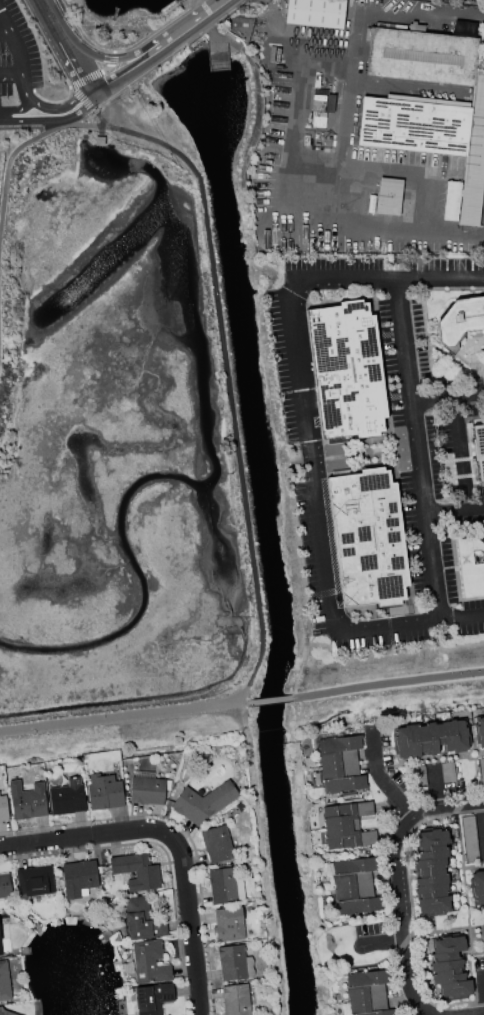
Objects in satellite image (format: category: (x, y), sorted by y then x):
road: (188, 3)
road: (209, 9)
road: (420, 11)
building: (316, 13)
road: (173, 15)
road: (226, 15)
road: (185, 27)
road: (5, 33)
road: (12, 38)
road: (193, 39)
road: (47, 47)
road: (64, 47)
road: (103, 50)
road: (326, 51)
building: (426, 55)
road: (104, 57)
road: (105, 57)
road: (132, 64)
parking lot: (17, 67)
road: (9, 69)
road: (104, 69)
road: (84, 79)
road: (136, 80)
road: (417, 87)
road: (25, 98)
road: (80, 99)
road: (73, 108)
road: (25, 118)
road: (346, 118)
building: (319, 119)
road: (98, 120)
building: (415, 124)
road: (286, 134)
road: (19, 147)
road: (413, 173)
building: (389, 197)
building: (451, 202)
road: (348, 231)
building: (461, 320)
road: (300, 363)
building: (346, 372)
road: (230, 388)
road: (430, 398)
road: (454, 443)
building: (479, 448)
road: (418, 449)
road: (445, 510)
road: (329, 532)
building: (367, 539)
building: (470, 566)
road: (319, 594)
road: (413, 627)
road: (302, 647)
road: (387, 683)
road: (268, 699)
road: (122, 716)
building: (479, 731)
building: (430, 737)
building: (338, 765)
road: (378, 775)
building: (145, 789)
building: (103, 793)
building: (65, 798)
building: (203, 802)
building: (26, 805)
building: (2, 810)
road: (481, 823)
building: (345, 826)
road: (182, 830)
road: (171, 844)
building: (215, 844)
road: (261, 858)
building: (135, 871)
building: (431, 871)
building: (77, 878)
building: (33, 881)
building: (4, 886)
building: (223, 886)
building: (354, 887)
building: (476, 887)
road: (399, 904)
building: (139, 920)
building: (226, 924)
building: (483, 929)
road: (384, 942)
building: (0, 953)
building: (148, 963)
building: (231, 963)
building: (448, 968)
building: (3, 983)
building: (367, 993)
building: (151, 998)
building: (235, 1000)
building: (5, 1013)

